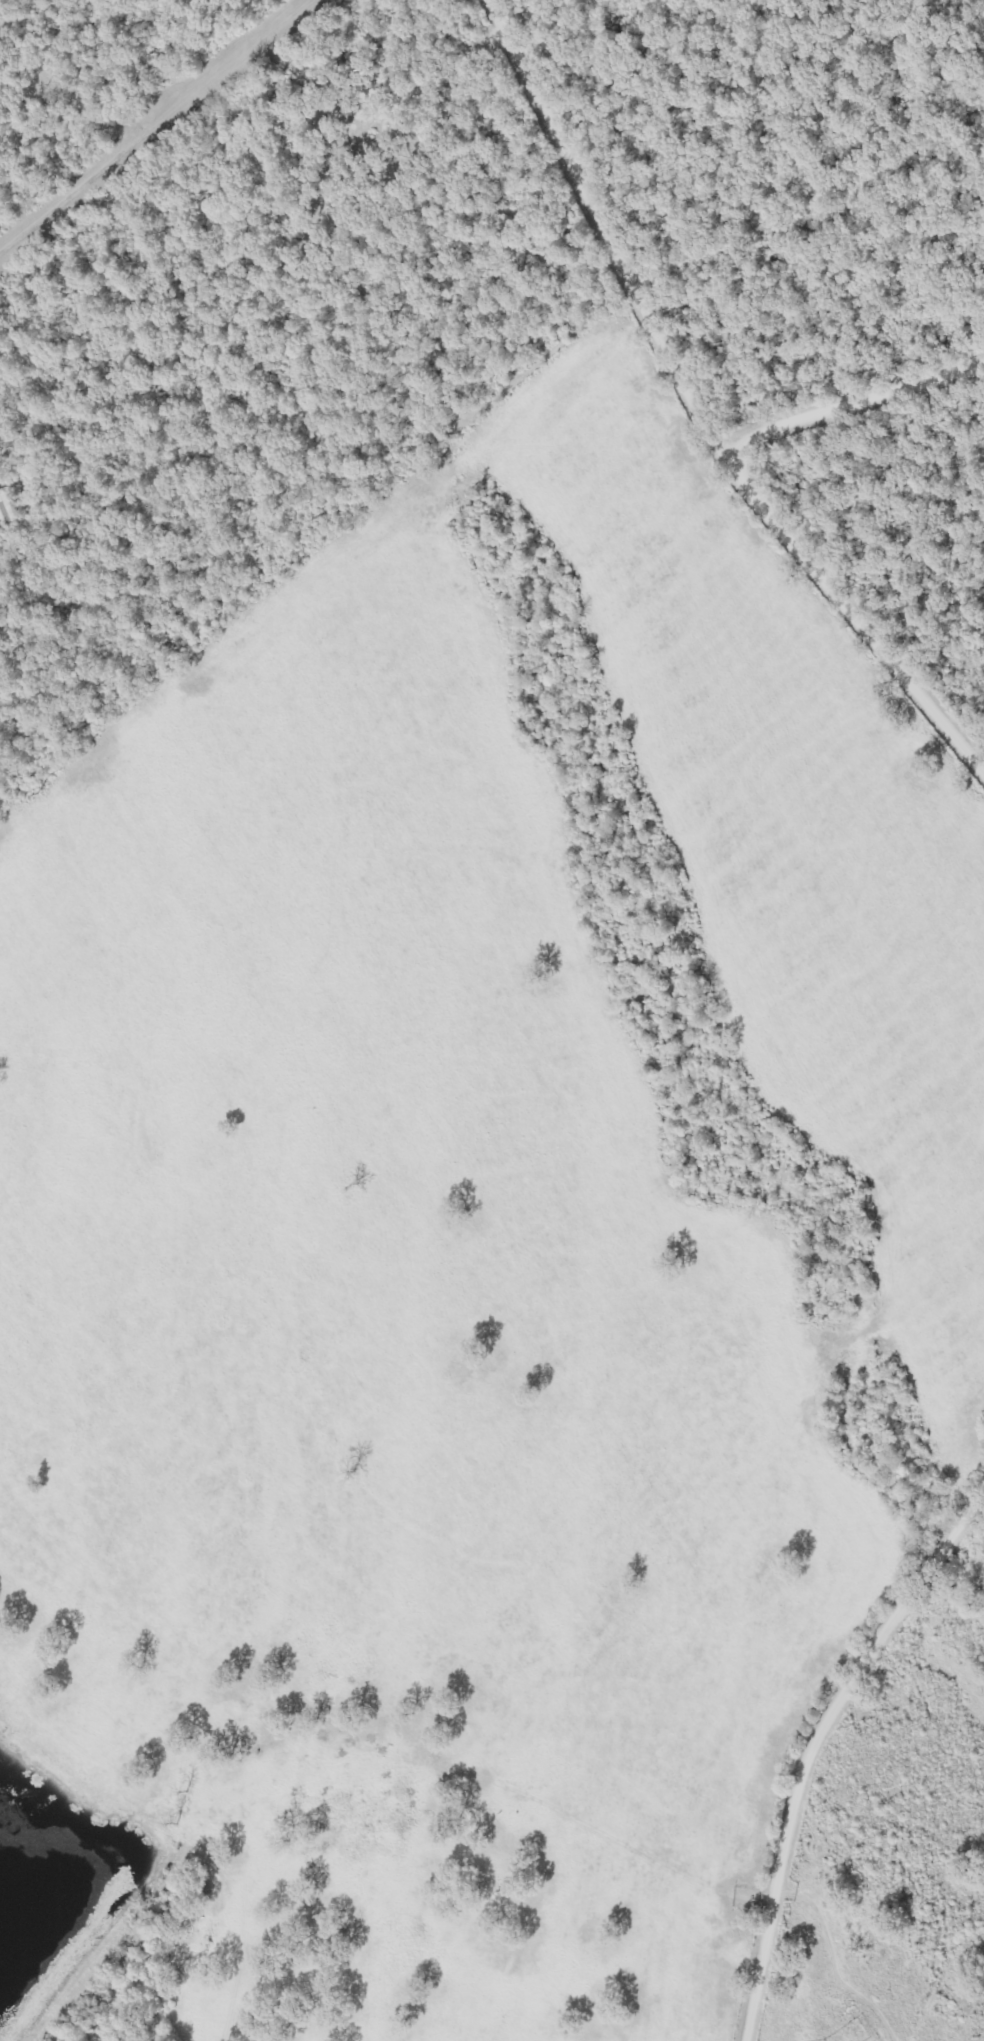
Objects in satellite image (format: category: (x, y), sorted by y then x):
road: (604, 258)
building: (5, 511)
road: (813, 530)
road: (861, 1669)
road: (758, 1948)
road: (834, 1948)

